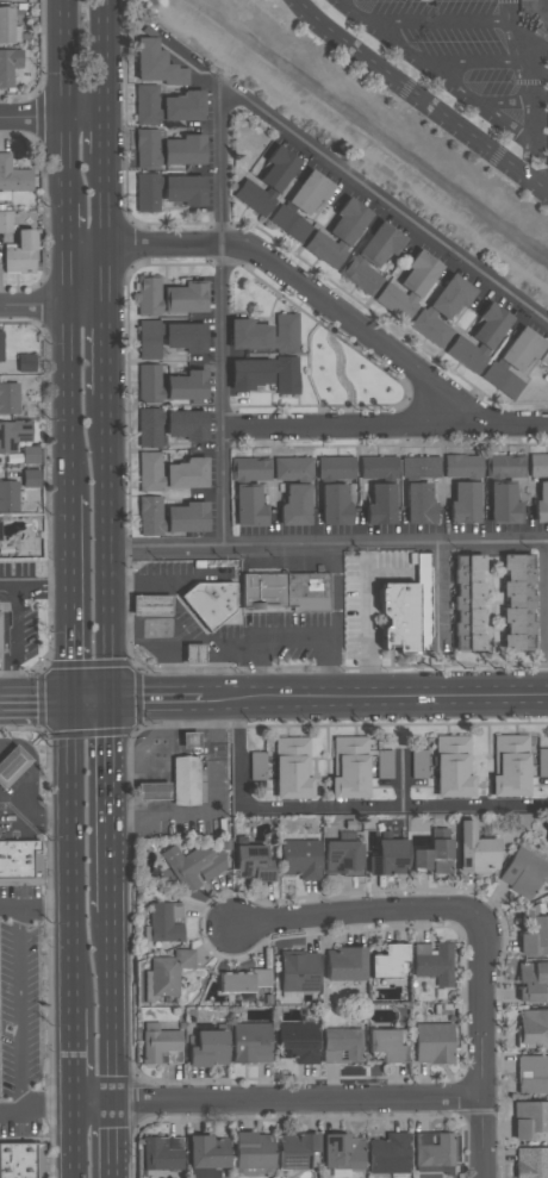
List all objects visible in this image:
building: (4, 0)
road: (438, 23)
building: (7, 27)
road: (517, 54)
road: (62, 60)
road: (104, 60)
parking lot: (471, 60)
road: (469, 63)
building: (156, 64)
building: (8, 66)
road: (446, 82)
road: (419, 100)
road: (503, 104)
building: (167, 106)
road: (31, 120)
road: (82, 120)
road: (530, 126)
road: (104, 139)
building: (168, 150)
road: (63, 162)
building: (13, 176)
building: (267, 182)
building: (183, 191)
building: (148, 193)
building: (309, 193)
road: (384, 208)
building: (6, 222)
building: (289, 224)
road: (64, 225)
road: (106, 233)
building: (337, 235)
building: (20, 254)
building: (372, 258)
road: (287, 279)
building: (409, 287)
building: (169, 298)
road: (54, 310)
building: (442, 311)
road: (222, 320)
building: (264, 334)
building: (186, 337)
building: (479, 338)
building: (149, 339)
building: (0, 347)
building: (519, 351)
road: (107, 355)
building: (25, 363)
road: (338, 368)
road: (67, 374)
building: (264, 375)
building: (502, 380)
building: (149, 384)
building: (186, 386)
building: (8, 398)
road: (385, 423)
building: (185, 425)
building: (150, 428)
building: (13, 435)
building: (30, 455)
building: (462, 466)
building: (505, 466)
building: (537, 466)
building: (293, 467)
building: (378, 467)
building: (419, 467)
building: (335, 468)
building: (170, 473)
building: (249, 491)
building: (8, 497)
building: (334, 504)
building: (418, 504)
building: (463, 504)
building: (503, 504)
building: (541, 504)
building: (380, 505)
building: (294, 506)
building: (172, 517)
road: (403, 542)
road: (112, 549)
road: (44, 587)
road: (437, 593)
building: (255, 597)
road: (73, 599)
building: (150, 605)
road: (173, 613)
building: (412, 615)
road: (15, 616)
road: (368, 618)
road: (334, 619)
building: (0, 631)
road: (254, 641)
road: (10, 646)
building: (193, 654)
road: (257, 668)
road: (375, 692)
road: (160, 697)
road: (37, 698)
traffic signals: (75, 698)
road: (95, 698)
traffic signals: (116, 698)
road: (166, 750)
building: (542, 762)
building: (384, 763)
building: (11, 765)
building: (257, 765)
building: (510, 765)
building: (349, 766)
building: (418, 766)
building: (453, 766)
building: (292, 767)
road: (33, 768)
building: (186, 772)
gas station: (179, 783)
gas station: (25, 786)
building: (152, 789)
road: (116, 804)
road: (216, 804)
road: (341, 806)
road: (32, 818)
building: (475, 848)
building: (440, 850)
road: (74, 852)
building: (341, 856)
building: (419, 856)
building: (300, 859)
building: (19, 860)
building: (253, 862)
building: (193, 866)
building: (523, 872)
road: (36, 910)
road: (357, 914)
building: (164, 922)
building: (534, 933)
building: (345, 962)
building: (434, 962)
building: (298, 971)
building: (169, 972)
building: (261, 978)
building: (531, 980)
building: (235, 983)
road: (114, 1008)
road: (20, 1010)
building: (533, 1028)
building: (251, 1041)
building: (297, 1042)
building: (432, 1042)
building: (341, 1045)
building: (386, 1045)
building: (207, 1048)
road: (484, 1048)
road: (74, 1057)
building: (531, 1076)
road: (279, 1102)
road: (36, 1107)
building: (529, 1118)
road: (74, 1142)
road: (114, 1142)
building: (294, 1149)
building: (253, 1151)
building: (341, 1151)
building: (432, 1152)
building: (162, 1153)
building: (388, 1153)
building: (205, 1155)
building: (21, 1161)
building: (531, 1163)

